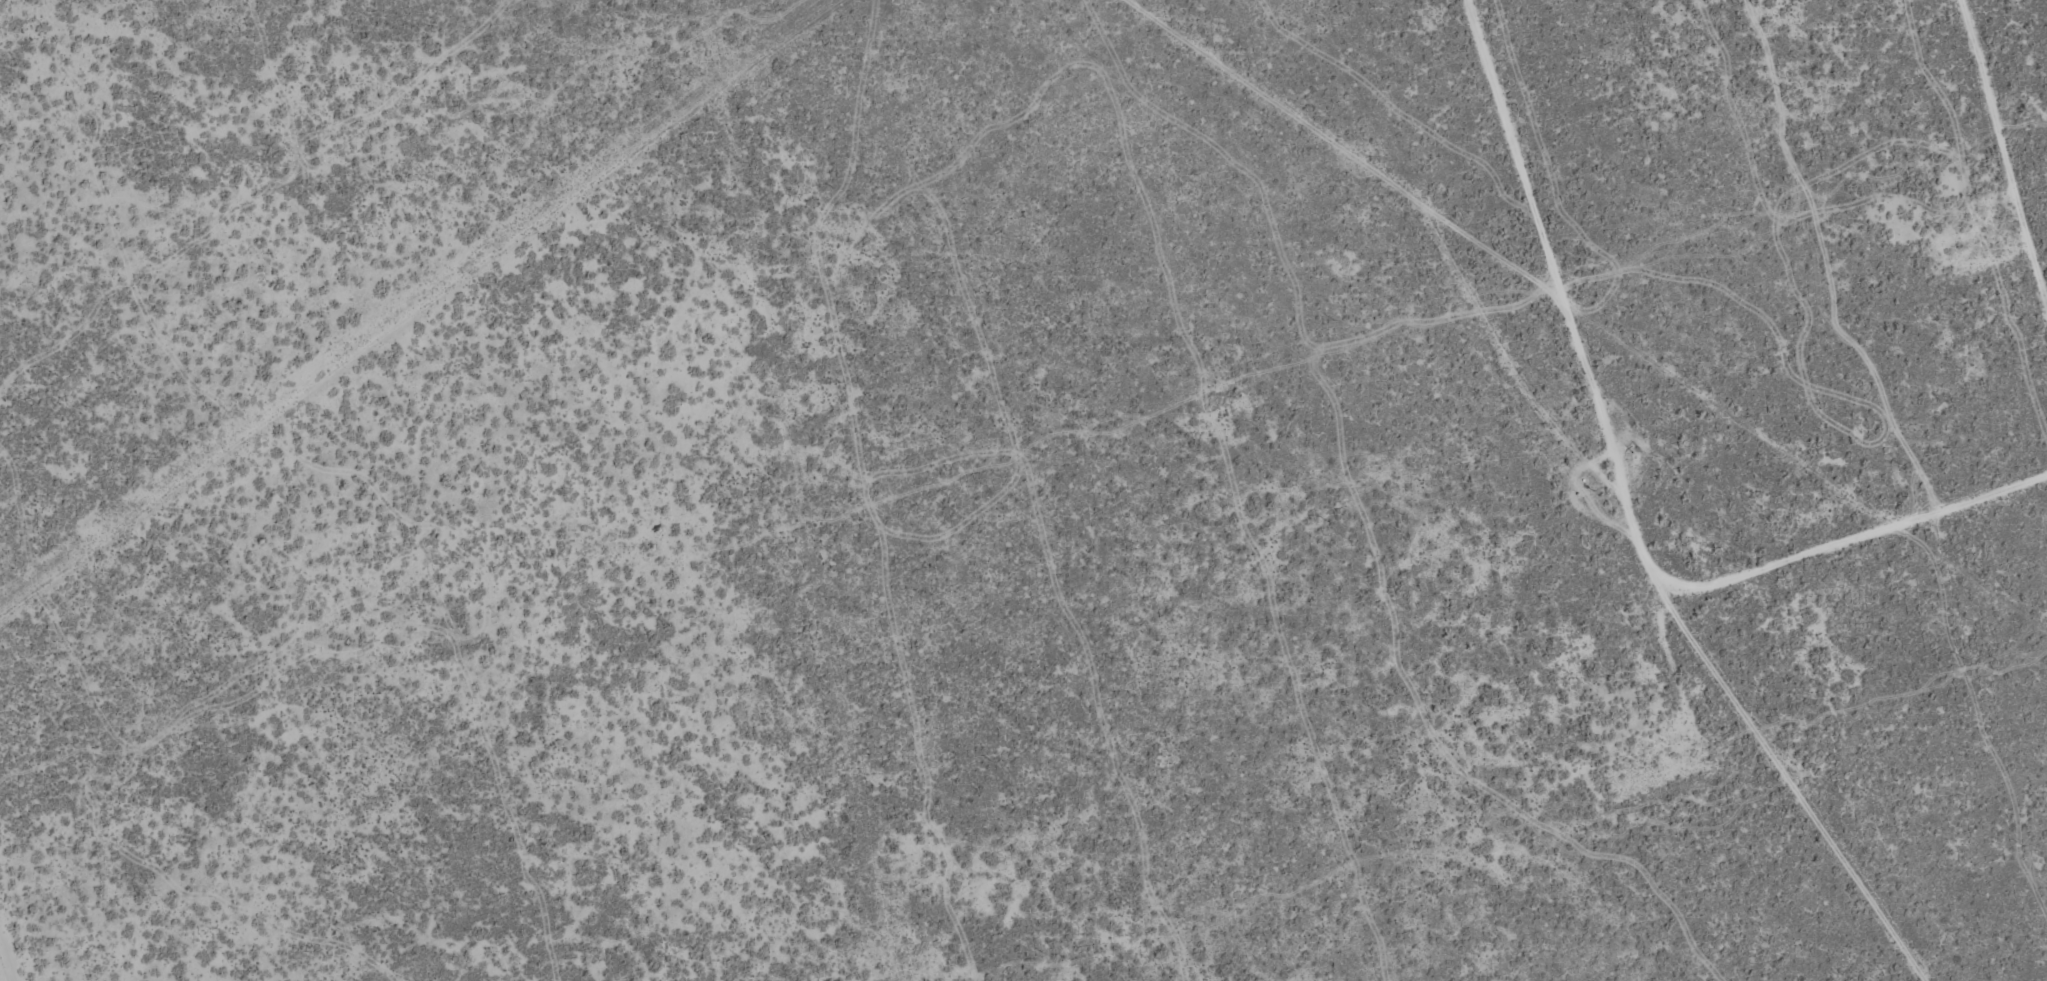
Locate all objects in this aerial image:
road: (1995, 195)
road: (1593, 530)
road: (1840, 551)

